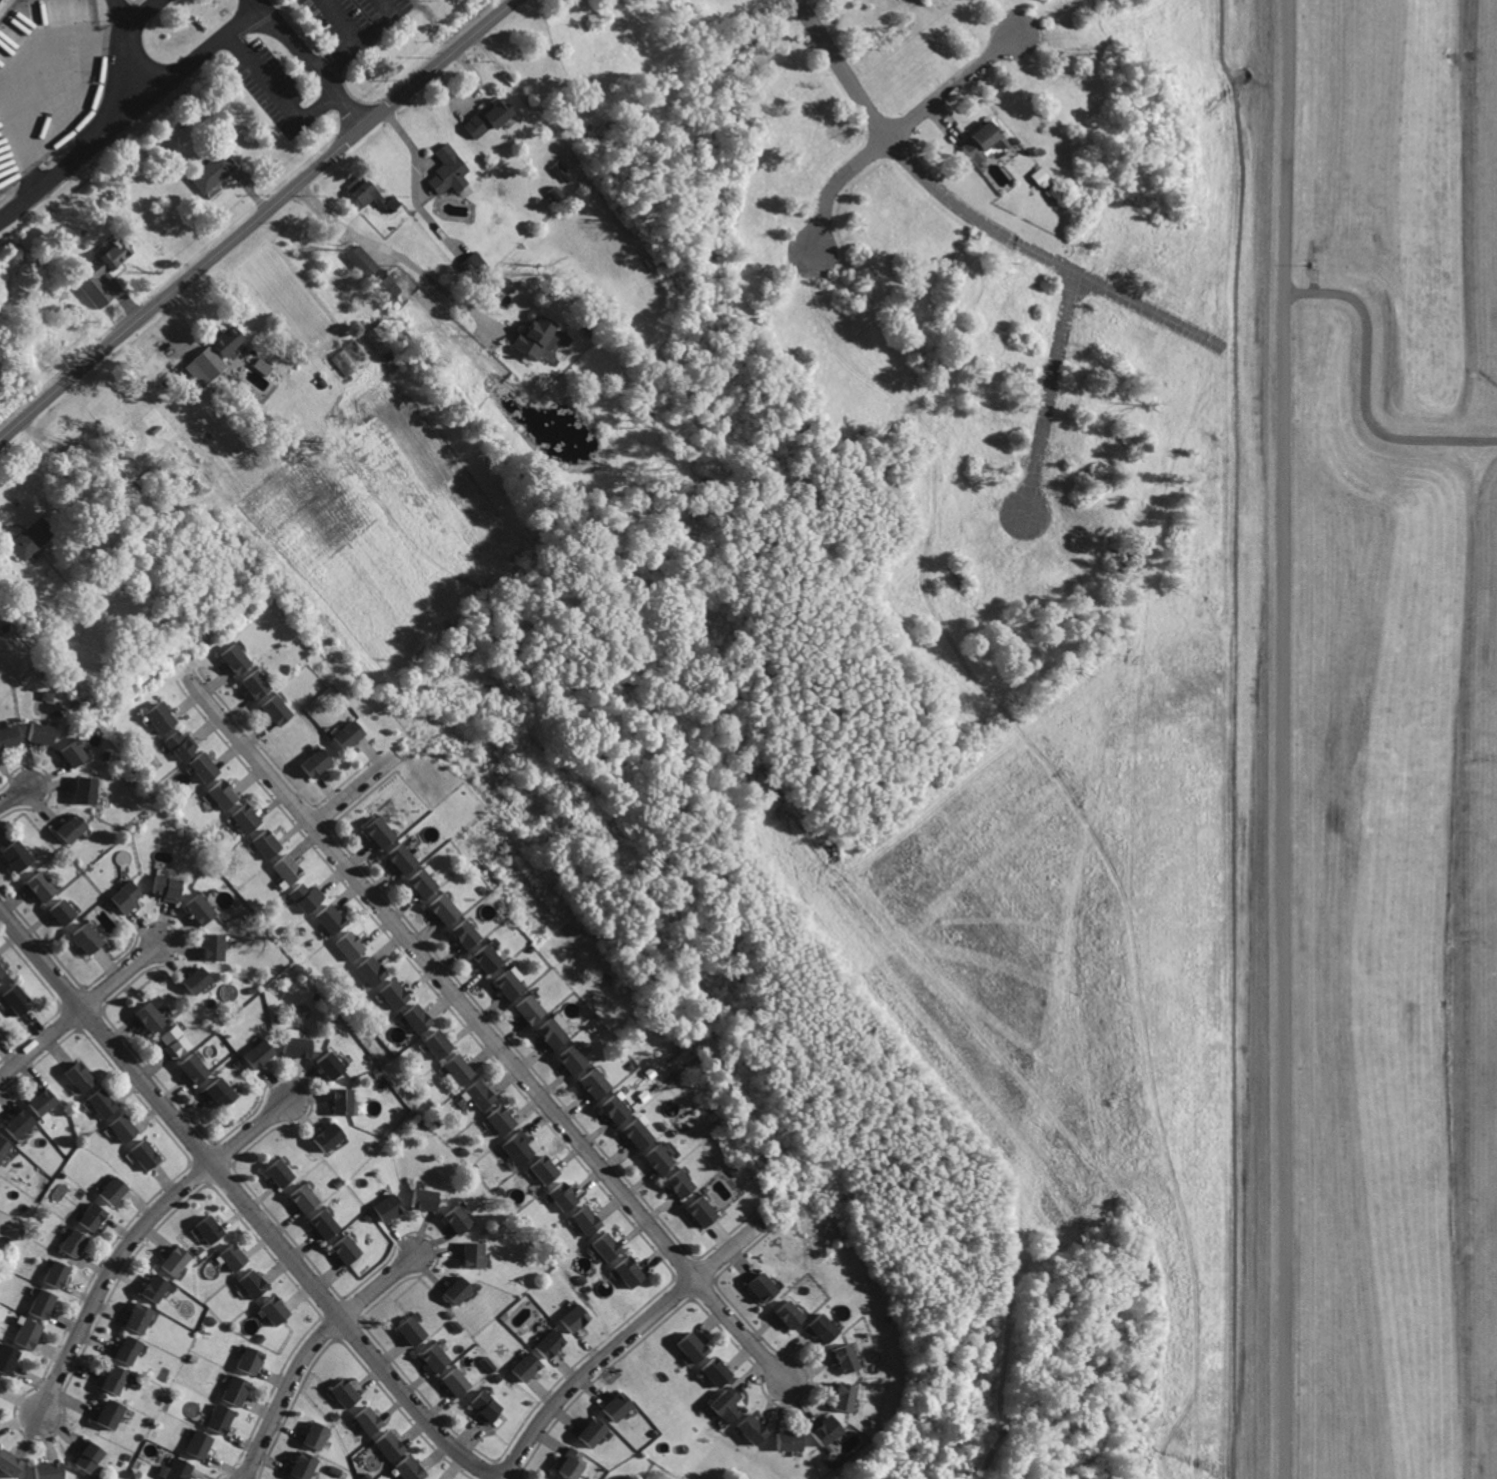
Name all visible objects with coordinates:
road: (132, 1)
road: (282, 3)
road: (259, 10)
road: (140, 15)
road: (340, 20)
parking lot: (354, 21)
road: (295, 26)
road: (361, 38)
road: (122, 52)
road: (328, 66)
road: (185, 67)
road: (415, 70)
road: (13, 75)
parking lot: (56, 88)
road: (277, 93)
road: (526, 98)
building: (488, 117)
road: (893, 132)
building: (983, 142)
building: (448, 169)
building: (212, 171)
building: (364, 191)
road: (970, 213)
road: (255, 216)
building: (360, 259)
road: (406, 259)
building: (472, 263)
building: (104, 270)
building: (387, 286)
building: (383, 333)
building: (538, 338)
building: (229, 342)
building: (343, 361)
building: (208, 362)
building: (261, 365)
road: (1368, 386)
road: (1050, 397)
crop: (382, 505)
road: (7, 531)
building: (35, 539)
building: (236, 658)
building: (257, 684)
building: (46, 695)
building: (279, 710)
building: (163, 720)
building: (43, 734)
building: (349, 734)
building: (9, 737)
airport: (1365, 738)
road: (1282, 739)
building: (182, 746)
building: (76, 754)
building: (317, 763)
building: (206, 768)
building: (88, 790)
road: (14, 791)
road: (354, 791)
building: (226, 795)
building: (249, 819)
building: (72, 829)
building: (382, 832)
building: (269, 845)
building: (18, 855)
building: (405, 860)
building: (290, 869)
building: (424, 884)
building: (43, 885)
building: (169, 887)
building: (309, 897)
building: (126, 898)
building: (202, 909)
building: (447, 909)
building: (64, 911)
building: (332, 920)
building: (466, 933)
building: (87, 938)
building: (215, 947)
building: (351, 947)
building: (488, 958)
building: (3, 970)
building: (373, 971)
building: (197, 981)
building: (509, 984)
building: (396, 995)
building: (20, 998)
road: (76, 1008)
building: (532, 1008)
building: (152, 1017)
building: (418, 1019)
road: (483, 1025)
building: (0, 1029)
building: (555, 1033)
building: (177, 1043)
building: (438, 1043)
building: (298, 1046)
building: (261, 1055)
building: (573, 1059)
building: (331, 1064)
building: (197, 1067)
building: (459, 1068)
building: (82, 1076)
building: (596, 1084)
building: (221, 1090)
building: (481, 1095)
building: (44, 1100)
building: (344, 1101)
building: (104, 1103)
building: (615, 1109)
building: (503, 1120)
building: (20, 1123)
building: (126, 1127)
building: (638, 1133)
building: (330, 1138)
building: (4, 1146)
building: (521, 1147)
building: (147, 1155)
building: (660, 1159)
building: (546, 1169)
building: (283, 1172)
building: (681, 1185)
building: (116, 1190)
building: (565, 1197)
building: (304, 1198)
building: (425, 1200)
road: (242, 1201)
building: (388, 1207)
building: (703, 1212)
building: (95, 1216)
building: (460, 1219)
building: (588, 1221)
building: (327, 1224)
building: (212, 1229)
road: (133, 1233)
building: (76, 1244)
building: (607, 1247)
building: (349, 1250)
building: (475, 1253)
building: (234, 1257)
building: (179, 1261)
building: (631, 1272)
building: (59, 1274)
building: (253, 1284)
building: (763, 1286)
building: (157, 1289)
building: (458, 1291)
building: (45, 1303)
building: (275, 1311)
building: (790, 1314)
building: (575, 1319)
building: (141, 1320)
building: (822, 1328)
building: (414, 1330)
building: (31, 1333)
road: (624, 1341)
building: (550, 1343)
building: (693, 1346)
road: (305, 1347)
building: (126, 1350)
building: (437, 1357)
building: (844, 1357)
building: (9, 1360)
building: (253, 1360)
building: (528, 1367)
building: (716, 1372)
building: (0, 1381)
building: (115, 1381)
building: (456, 1383)
building: (1, 1385)
building: (238, 1392)
building: (348, 1393)
building: (846, 1396)
building: (727, 1405)
building: (487, 1407)
building: (617, 1407)
building: (109, 1415)
building: (223, 1419)
building: (370, 1420)
building: (754, 1430)
building: (824, 1430)
building: (593, 1432)
building: (318, 1435)
building: (789, 1440)
building: (202, 1444)
building: (390, 1445)
building: (91, 1456)
building: (11, 1462)
building: (572, 1464)
building: (305, 1466)
building: (413, 1468)
building: (50, 1470)
building: (182, 1470)

